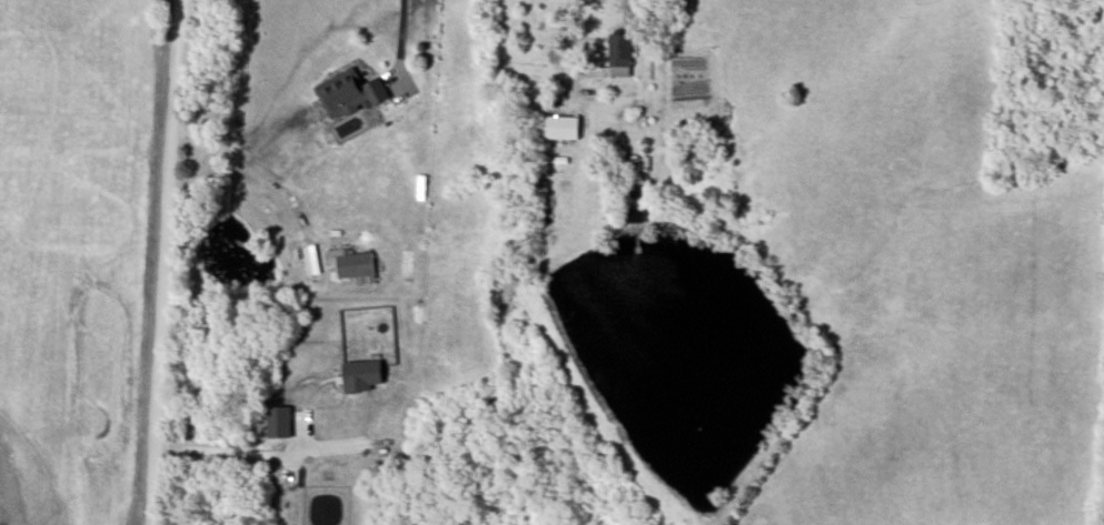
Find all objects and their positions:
road: (396, 24)
building: (619, 51)
road: (571, 61)
building: (347, 93)
building: (558, 129)
road: (265, 170)
road: (158, 262)
building: (350, 264)
road: (209, 443)

